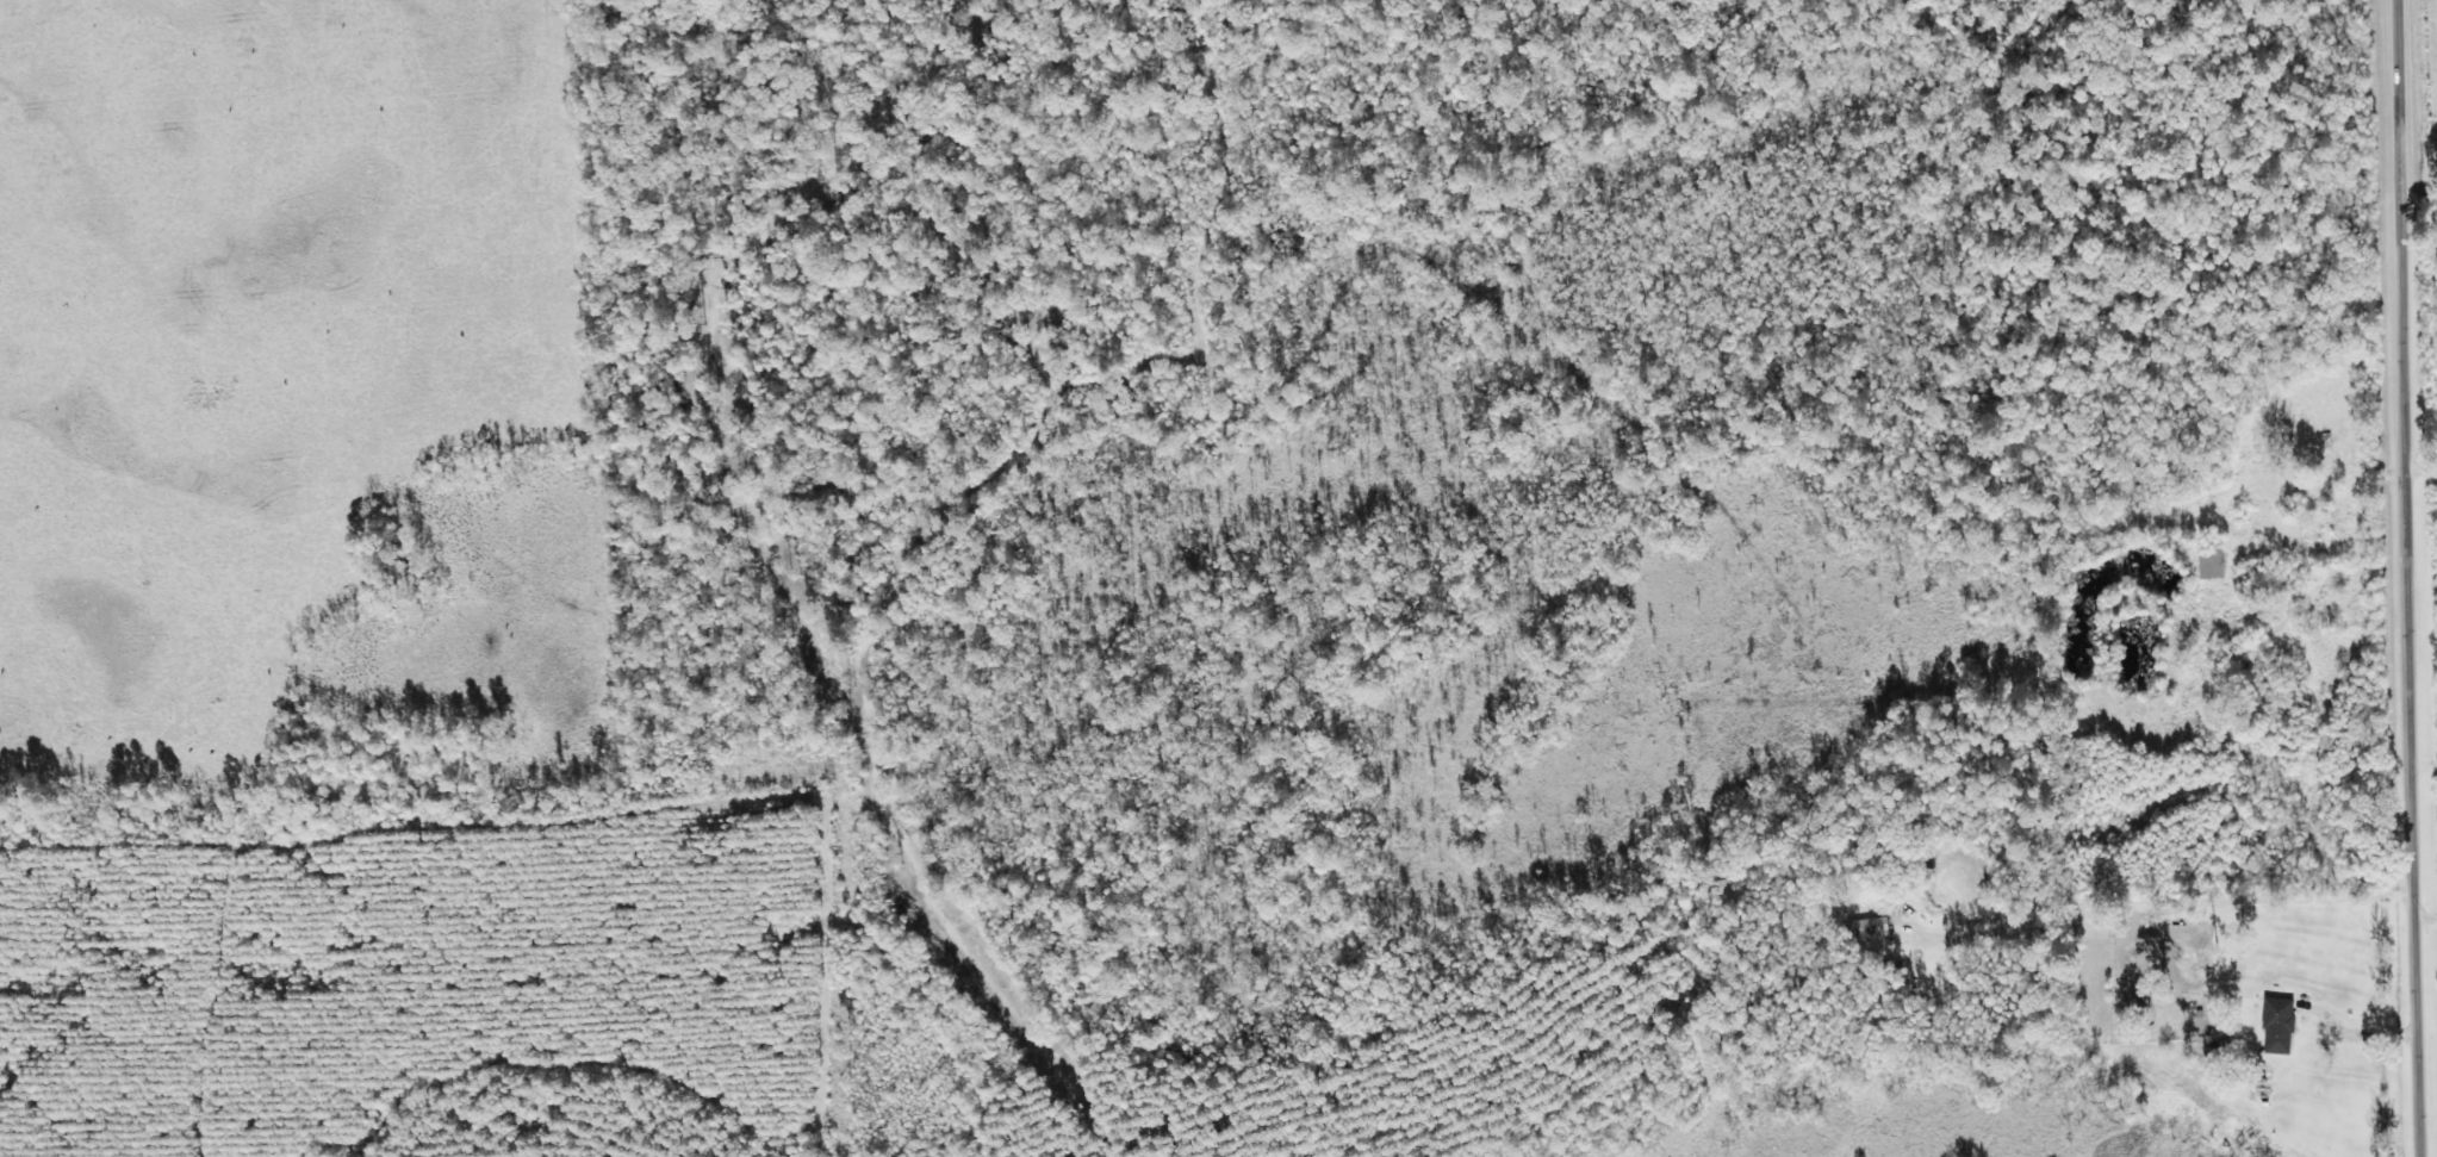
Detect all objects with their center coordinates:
building: (2212, 565)
road: (2399, 578)
road: (2422, 757)
road: (2164, 997)
road: (2427, 1018)
building: (2279, 1026)

